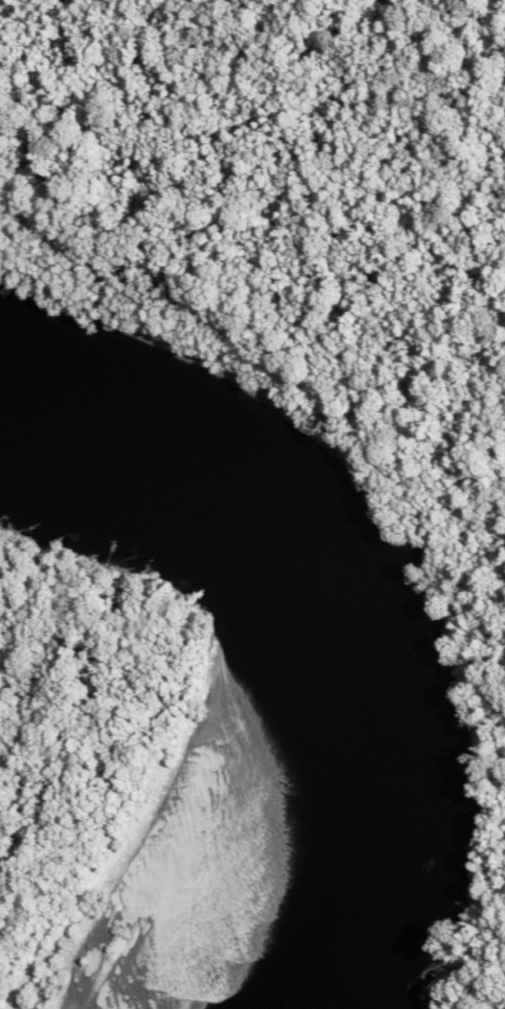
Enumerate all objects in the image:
river: (285, 620)

